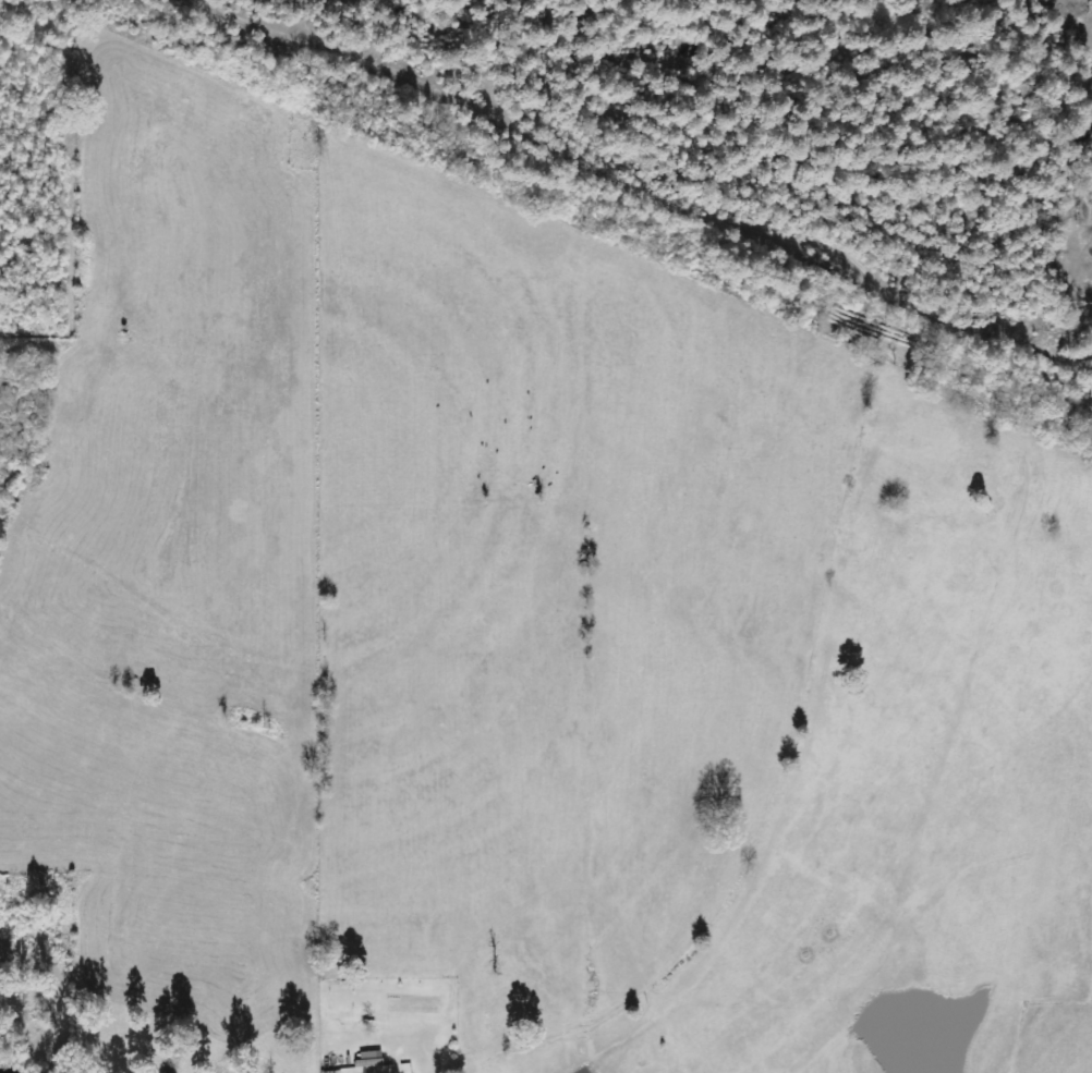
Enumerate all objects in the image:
road: (3, 266)

